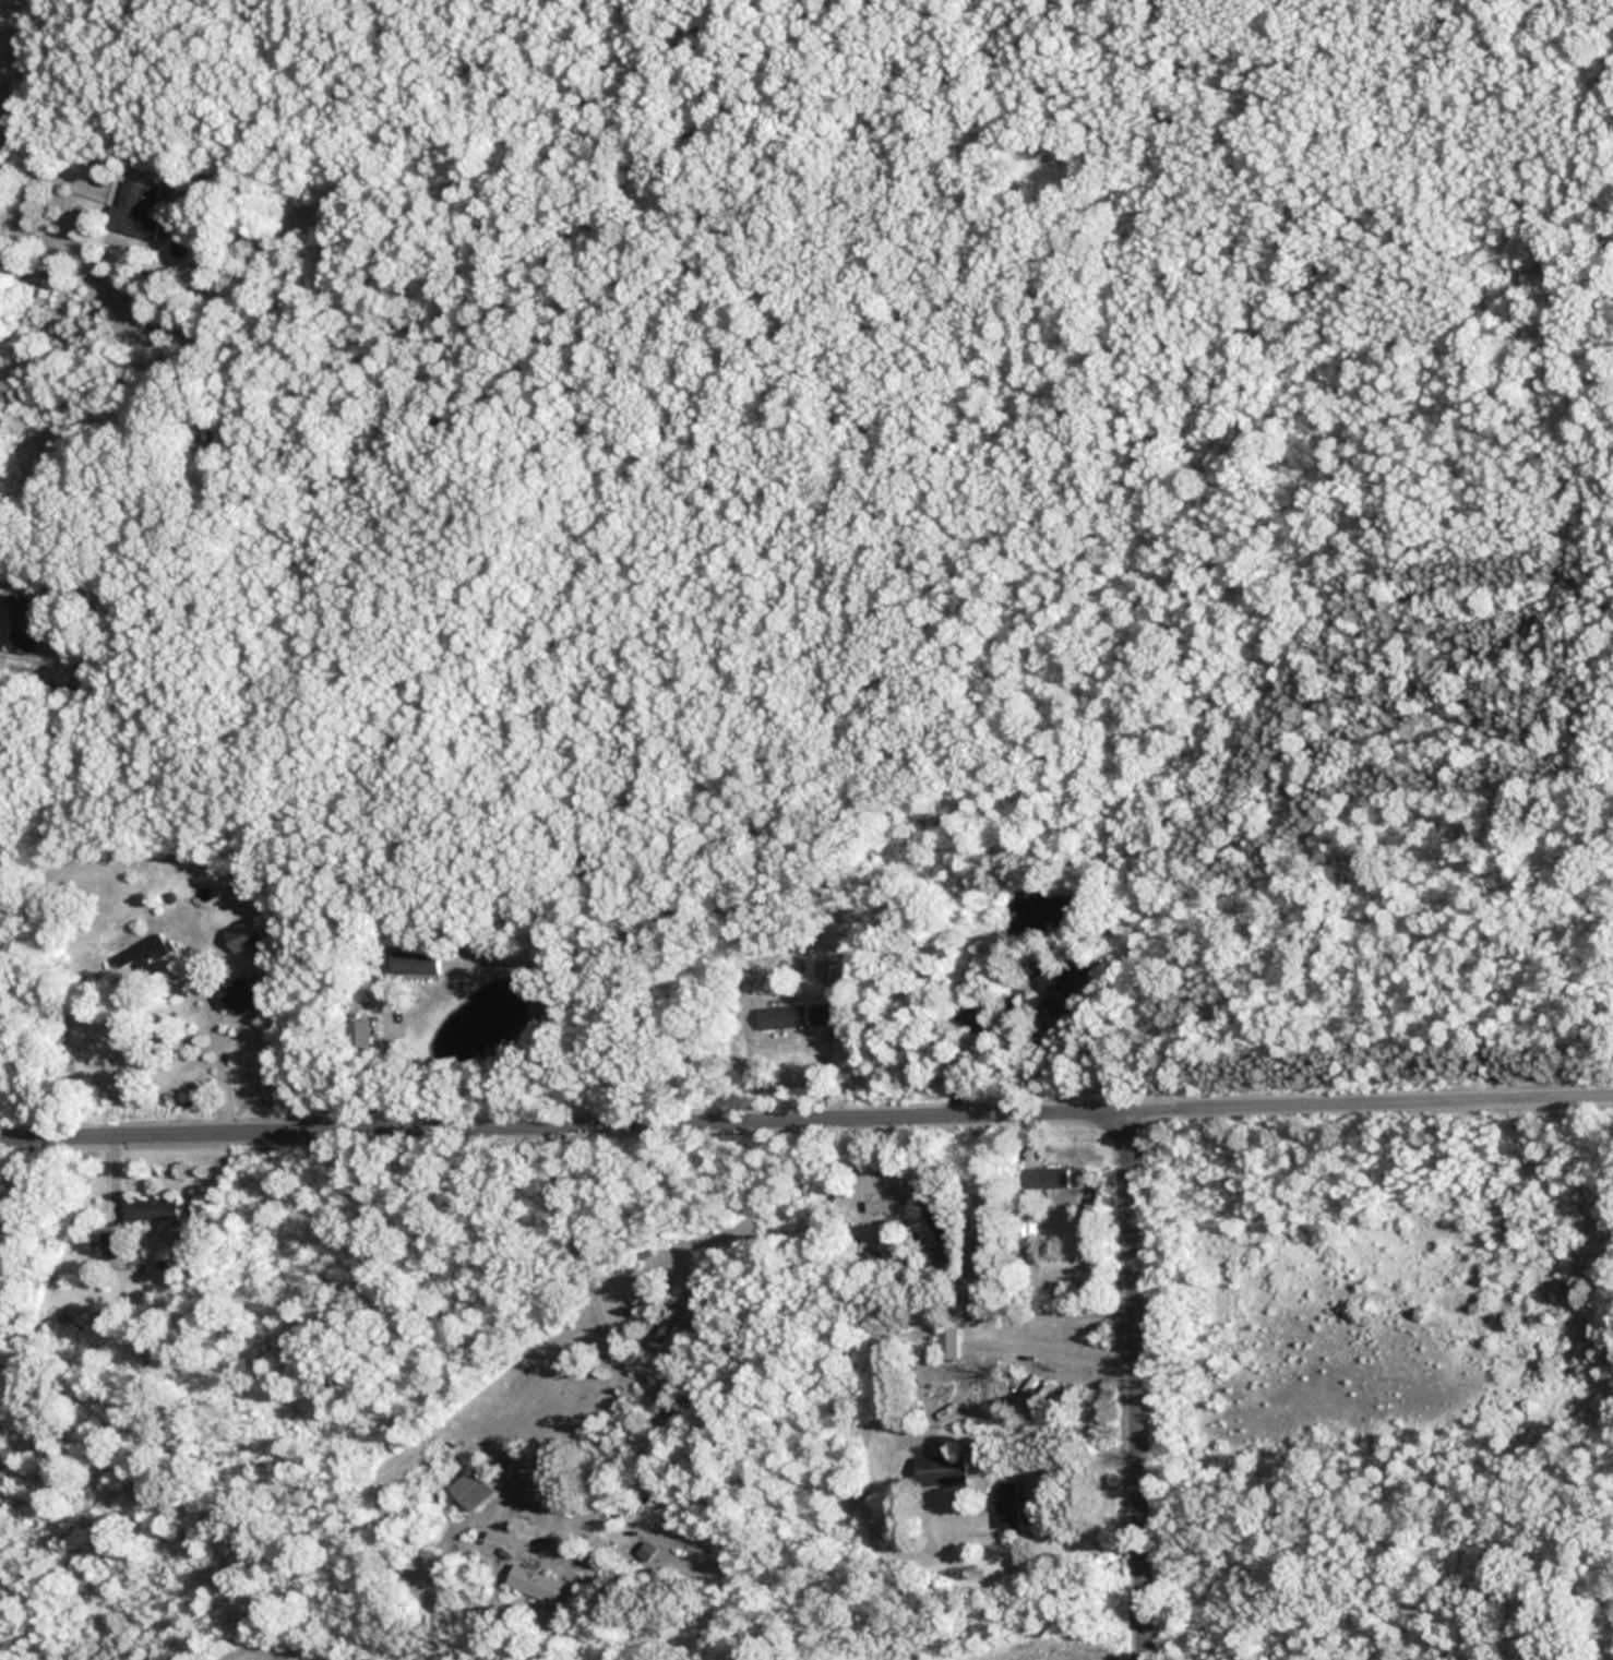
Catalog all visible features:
road: (8, 71)
road: (55, 169)
building: (133, 213)
road: (3, 598)
building: (27, 623)
park: (1279, 739)
building: (244, 934)
building: (415, 963)
building: (1058, 976)
building: (244, 995)
building: (782, 1018)
building: (967, 1020)
road: (215, 1032)
road: (806, 1124)
building: (1046, 1178)
building: (883, 1206)
building: (152, 1209)
building: (934, 1222)
building: (116, 1244)
building: (947, 1342)
road: (1054, 1350)
road: (1136, 1387)
road: (593, 1406)
road: (1082, 1465)
building: (942, 1469)
building: (473, 1490)
building: (1007, 1505)
building: (535, 1583)

